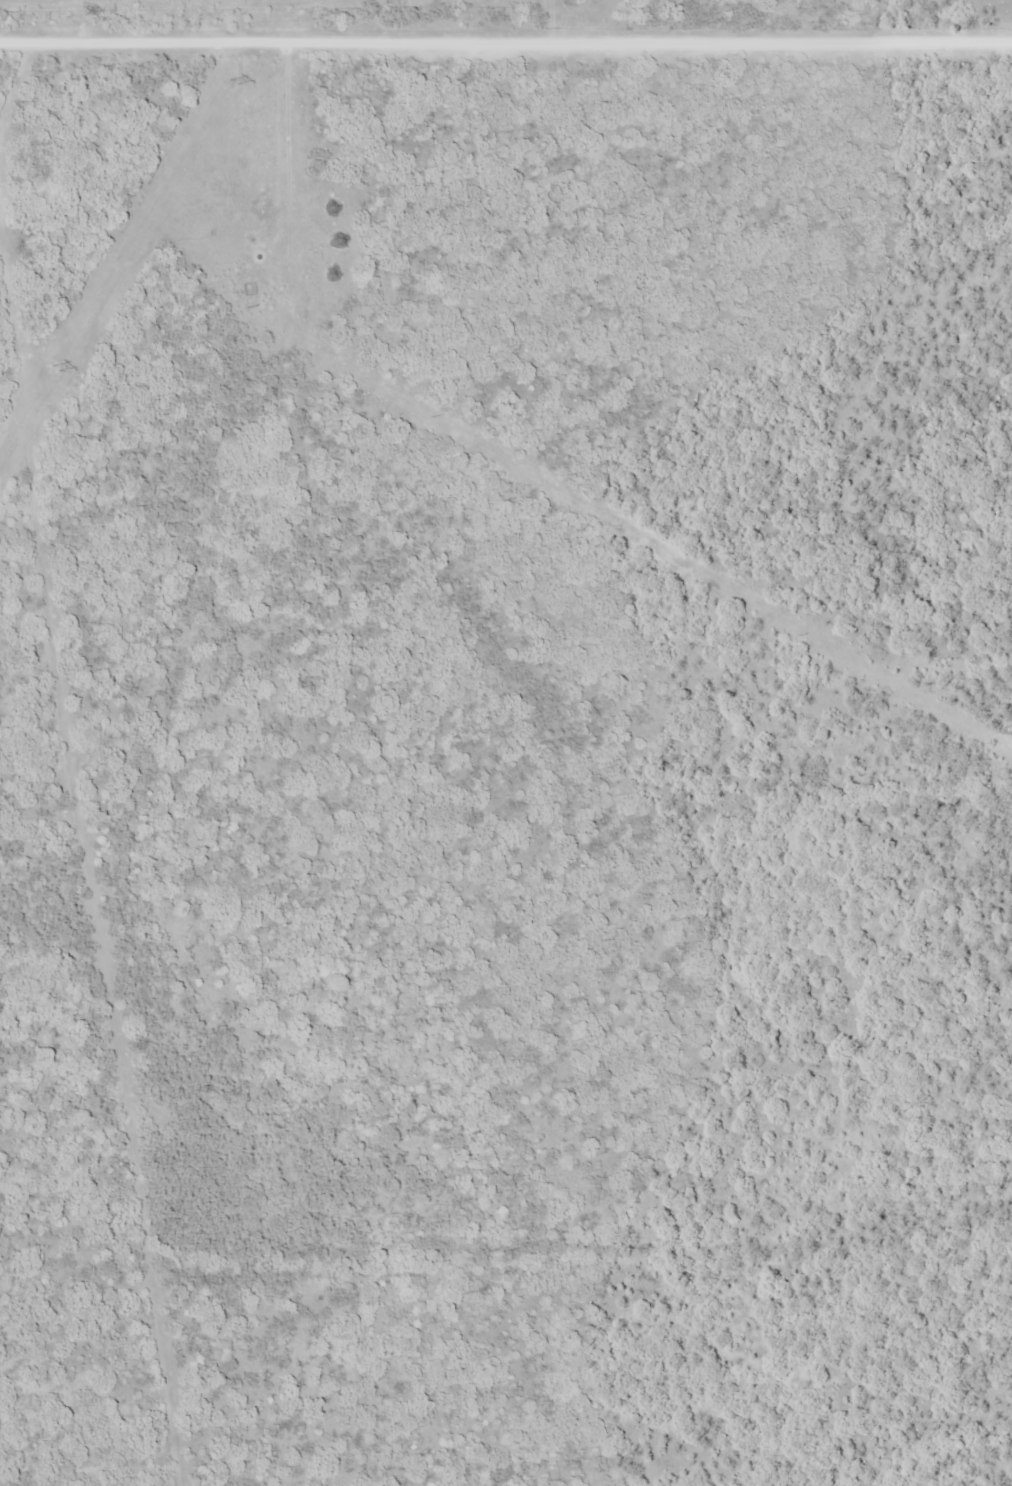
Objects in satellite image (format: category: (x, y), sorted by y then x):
road: (545, 21)
power tower: (220, 34)
road: (506, 41)
power tower: (52, 368)

